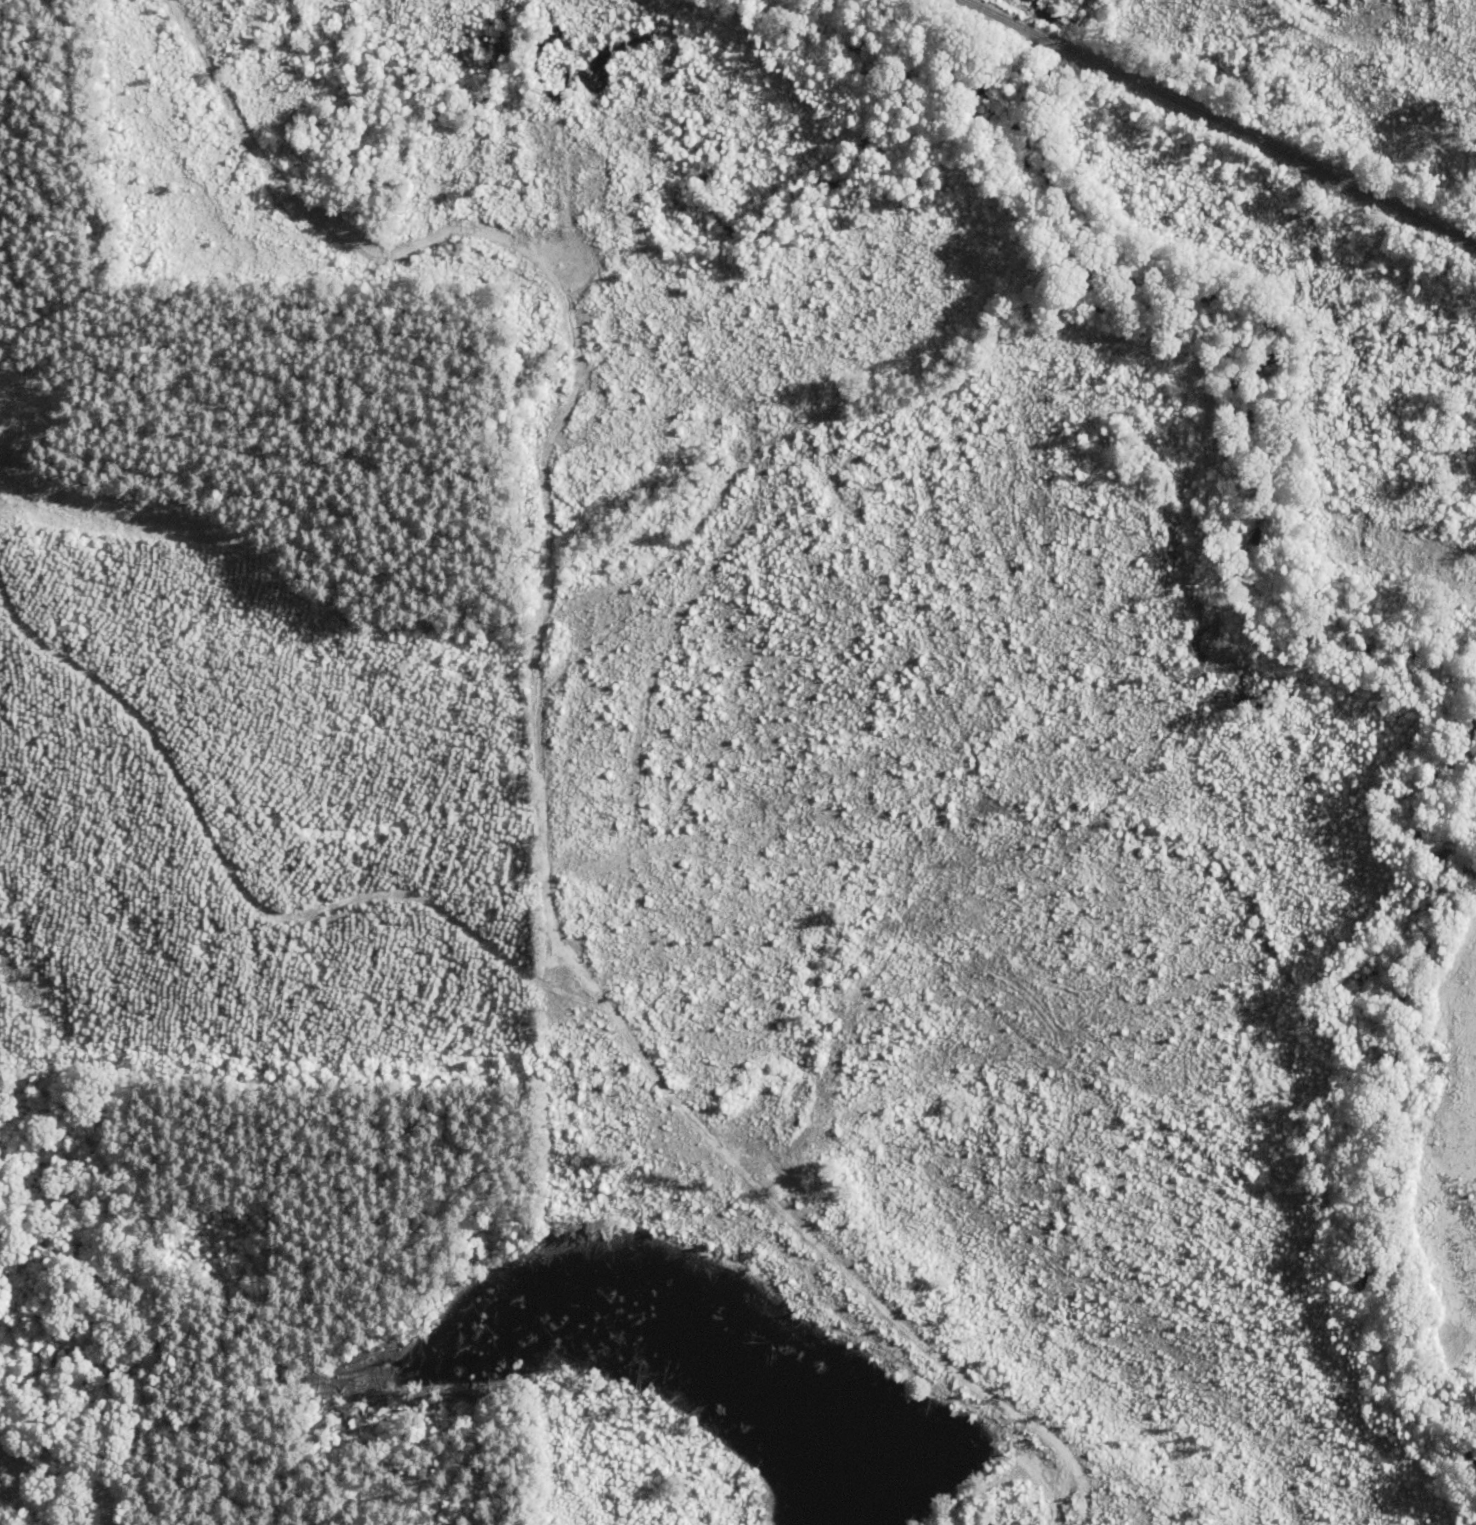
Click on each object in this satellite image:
railway: (1176, 148)

